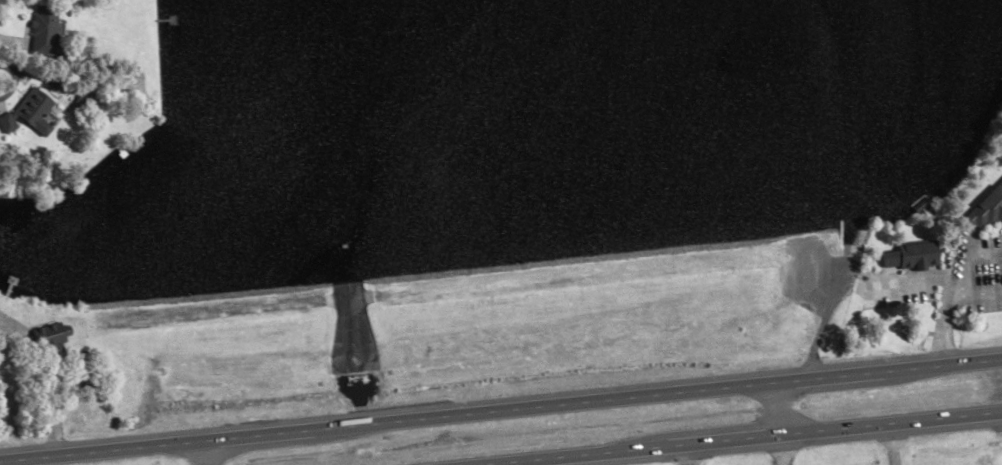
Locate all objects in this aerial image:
building: (36, 34)
building: (20, 117)
building: (984, 209)
building: (904, 257)
road: (916, 281)
road: (950, 301)
building: (54, 339)
road: (951, 364)
road: (838, 376)
road: (550, 404)
road: (777, 409)
road: (891, 424)
road: (263, 433)
road: (712, 443)
road: (891, 445)
road: (99, 450)
road: (779, 450)
road: (200, 452)
road: (568, 457)

